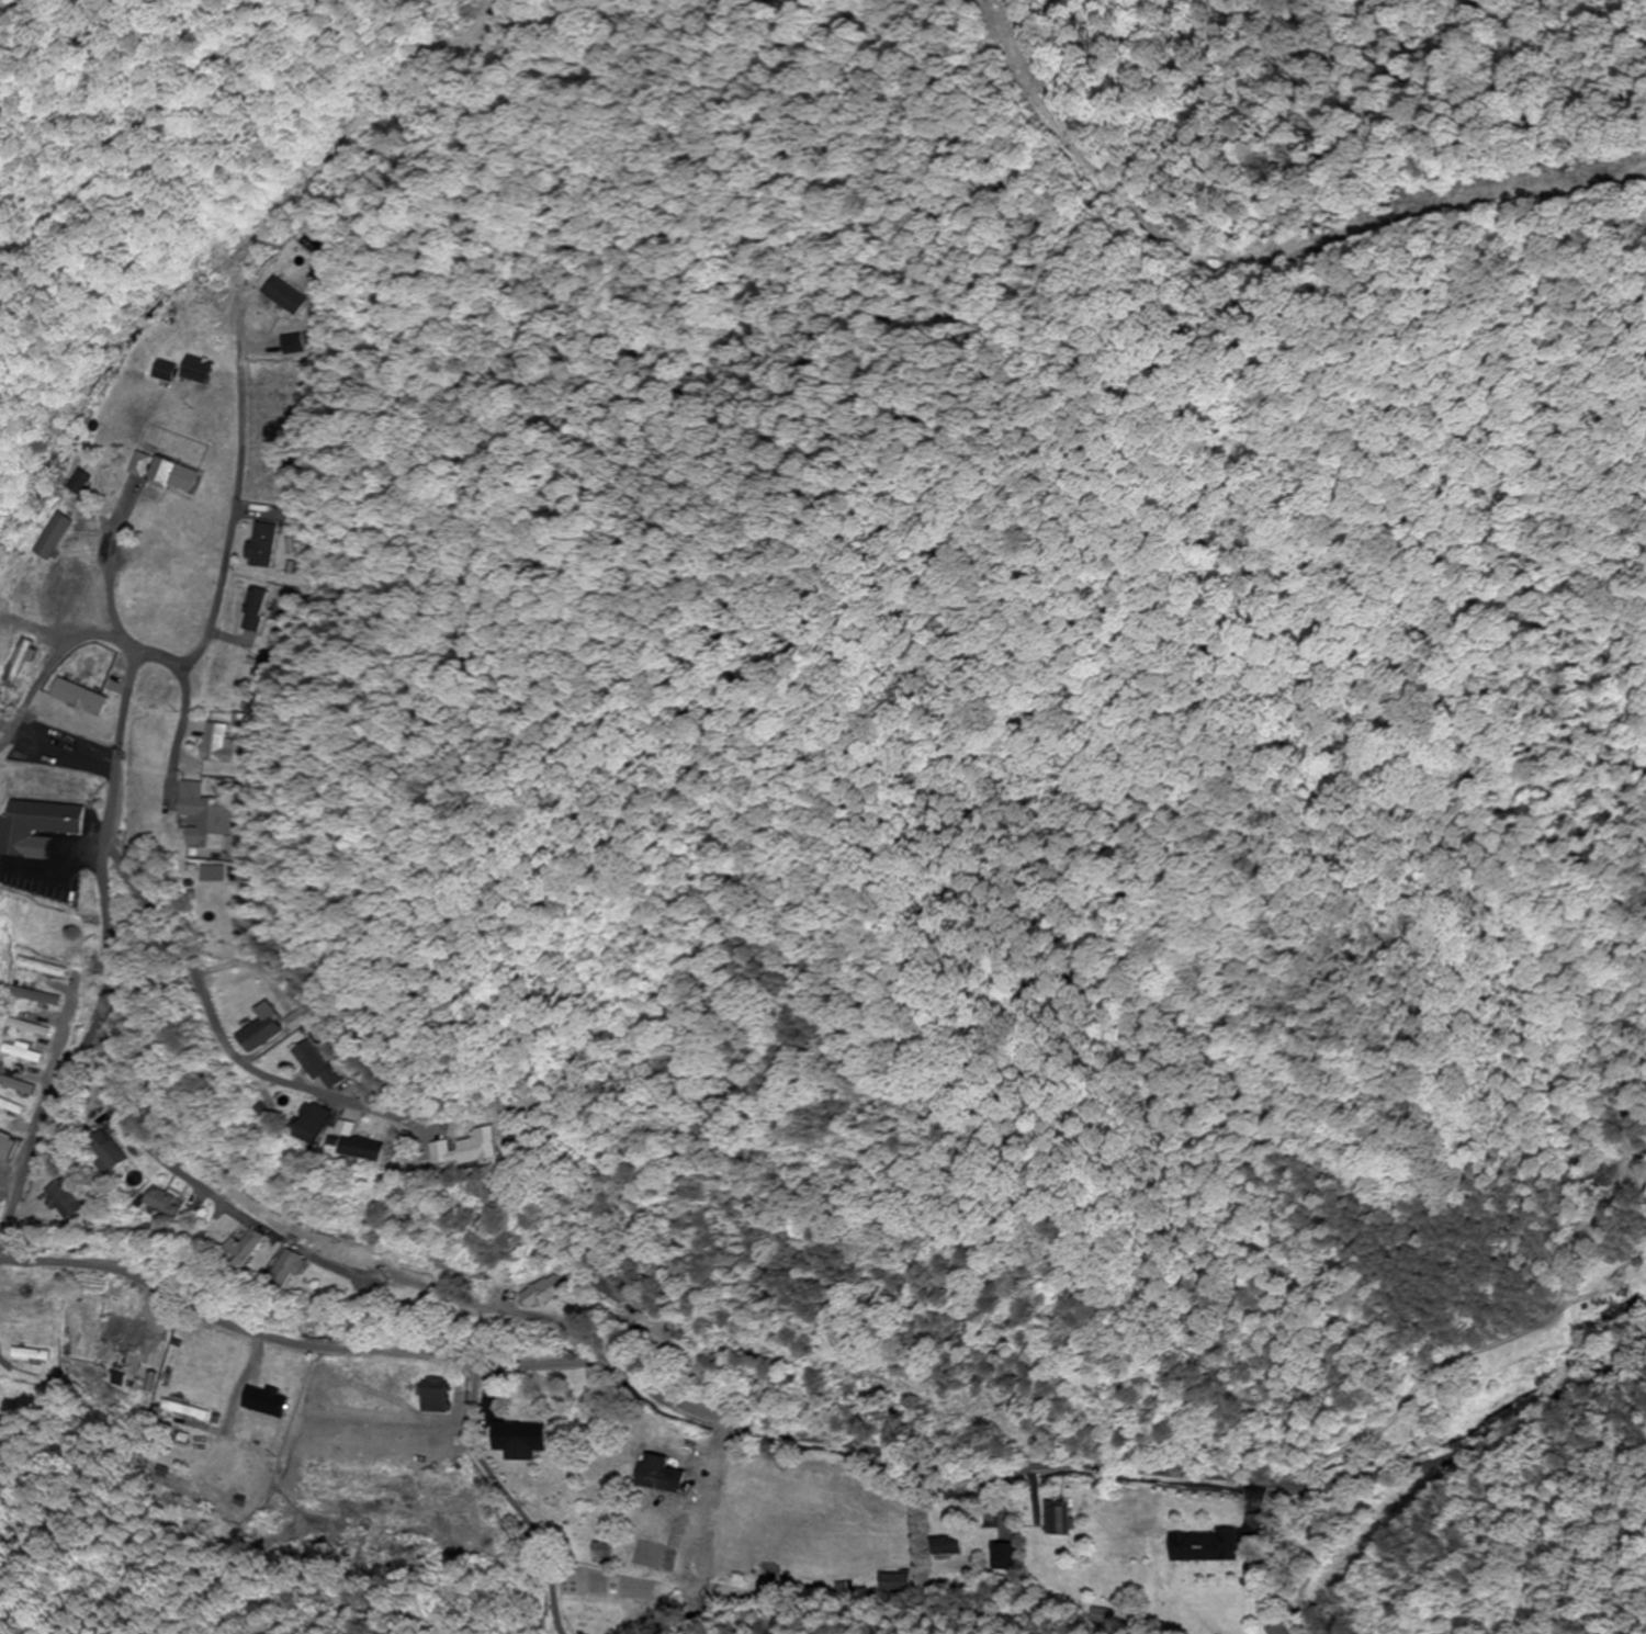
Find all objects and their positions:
building: (162, 371)
building: (195, 371)
building: (139, 464)
building: (174, 475)
building: (77, 482)
building: (50, 537)
building: (261, 544)
building: (35, 597)
building: (252, 609)
building: (19, 662)
building: (214, 744)
building: (205, 821)
building: (36, 825)
road: (105, 843)
building: (33, 996)
building: (289, 1019)
building: (253, 1034)
road: (223, 1047)
building: (20, 1053)
building: (312, 1066)
building: (15, 1086)
building: (10, 1108)
building: (312, 1125)
building: (7, 1148)
building: (362, 1150)
building: (465, 1150)
building: (110, 1153)
building: (65, 1199)
building: (166, 1203)
road: (279, 1228)
building: (246, 1250)
building: (292, 1270)
building: (612, 1292)
building: (543, 1293)
building: (1621, 1310)
building: (128, 1338)
building: (435, 1396)
building: (264, 1401)
building: (183, 1411)
road: (824, 1425)
building: (519, 1441)
building: (1059, 1520)
building: (1206, 1546)
building: (945, 1547)
building: (600, 1554)
building: (1003, 1557)
building: (892, 1585)
building: (1103, 1616)

